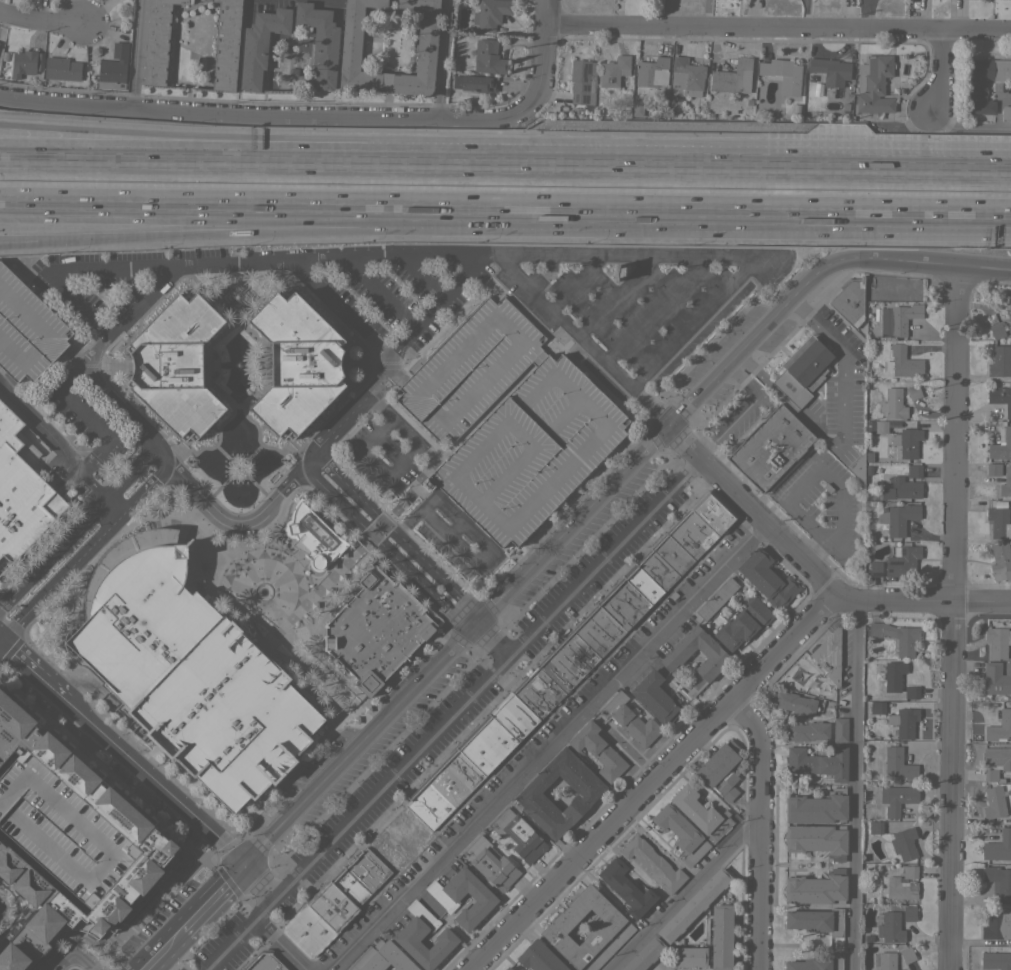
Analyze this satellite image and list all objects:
building: (210, 1)
building: (490, 13)
road: (40, 19)
road: (777, 27)
building: (351, 40)
building: (157, 41)
building: (320, 42)
building: (226, 44)
building: (260, 45)
road: (542, 52)
road: (135, 54)
building: (488, 57)
road: (444, 59)
building: (23, 63)
building: (62, 68)
building: (113, 68)
rooftop solar panel: (585, 70)
building: (613, 70)
building: (831, 70)
building: (652, 72)
road: (946, 73)
building: (782, 75)
building: (730, 76)
building: (686, 77)
building: (580, 81)
building: (474, 83)
building: (983, 83)
building: (874, 84)
rooftop solar panel: (465, 86)
rooftop solar panel: (584, 87)
rooftop solar panel: (481, 90)
rooftop solar panel: (571, 99)
rooftop solar panel: (585, 99)
building: (637, 108)
building: (1006, 113)
road: (267, 116)
road: (968, 131)
road: (263, 144)
road: (263, 160)
road: (769, 165)
railway: (505, 188)
road: (236, 208)
road: (741, 213)
road: (305, 222)
road: (69, 232)
road: (69, 238)
road: (386, 256)
road: (706, 258)
road: (927, 266)
road: (71, 271)
road: (529, 284)
road: (318, 289)
building: (849, 301)
building: (900, 317)
building: (1009, 317)
building: (27, 329)
parking garage: (27, 329)
building: (996, 331)
building: (1000, 361)
building: (902, 362)
building: (297, 364)
building: (176, 365)
building: (470, 368)
parking lot: (470, 368)
building: (801, 373)
road: (759, 374)
road: (747, 379)
road: (843, 391)
building: (913, 392)
building: (1001, 397)
road: (786, 403)
building: (894, 403)
road: (121, 405)
road: (735, 420)
building: (880, 426)
building: (907, 442)
building: (1001, 445)
building: (770, 447)
road: (708, 448)
road: (60, 451)
building: (529, 451)
parking lot: (529, 451)
building: (860, 465)
building: (993, 469)
building: (914, 471)
road: (832, 479)
building: (1006, 483)
building: (902, 488)
building: (21, 493)
building: (713, 512)
building: (897, 518)
building: (998, 522)
road: (79, 528)
road: (443, 534)
building: (692, 534)
building: (313, 535)
road: (394, 541)
road: (86, 550)
rooftop solar panel: (904, 553)
building: (673, 554)
road: (605, 558)
road: (542, 559)
building: (902, 561)
building: (1000, 561)
rooftop solar panel: (892, 563)
building: (875, 568)
building: (658, 570)
road: (813, 573)
rooftop solar panel: (878, 576)
building: (767, 578)
building: (643, 583)
building: (717, 598)
building: (623, 604)
road: (951, 619)
building: (743, 623)
building: (376, 628)
building: (896, 637)
building: (997, 641)
building: (828, 655)
building: (714, 661)
building: (569, 662)
road: (25, 665)
building: (189, 669)
building: (997, 678)
building: (895, 679)
building: (657, 698)
building: (795, 703)
building: (877, 707)
building: (514, 715)
building: (9, 719)
building: (629, 719)
building: (903, 722)
building: (1000, 727)
building: (840, 730)
building: (807, 731)
road: (107, 740)
building: (487, 744)
road: (542, 745)
building: (38, 749)
building: (597, 750)
building: (996, 762)
building: (818, 763)
building: (898, 764)
road: (398, 770)
building: (720, 770)
building: (67, 773)
road: (649, 782)
road: (852, 784)
building: (444, 788)
building: (529, 795)
building: (897, 798)
building: (995, 804)
building: (817, 807)
building: (701, 813)
building: (874, 826)
road: (203, 829)
road: (757, 829)
building: (517, 833)
building: (681, 834)
building: (397, 836)
building: (817, 839)
building: (903, 843)
building: (998, 846)
building: (0, 859)
building: (489, 863)
building: (654, 864)
building: (109, 865)
building: (367, 869)
building: (909, 871)
building: (998, 881)
road: (258, 882)
building: (350, 887)
building: (14, 888)
building: (626, 888)
building: (817, 888)
building: (900, 888)
road: (684, 894)
building: (446, 896)
road: (212, 898)
building: (693, 905)
building: (332, 906)
building: (909, 913)
building: (817, 921)
building: (997, 924)
building: (31, 925)
building: (614, 925)
building: (890, 927)
building: (307, 930)
building: (409, 934)
building: (721, 937)
road: (230, 942)
road: (280, 942)
road: (162, 950)
building: (645, 954)
building: (907, 954)
building: (689, 956)
building: (539, 957)
building: (382, 958)
road: (73, 959)
building: (995, 960)
building: (886, 961)
building: (264, 962)
building: (816, 963)
building: (507, 968)
building: (243, 969)
building: (500, 969)

